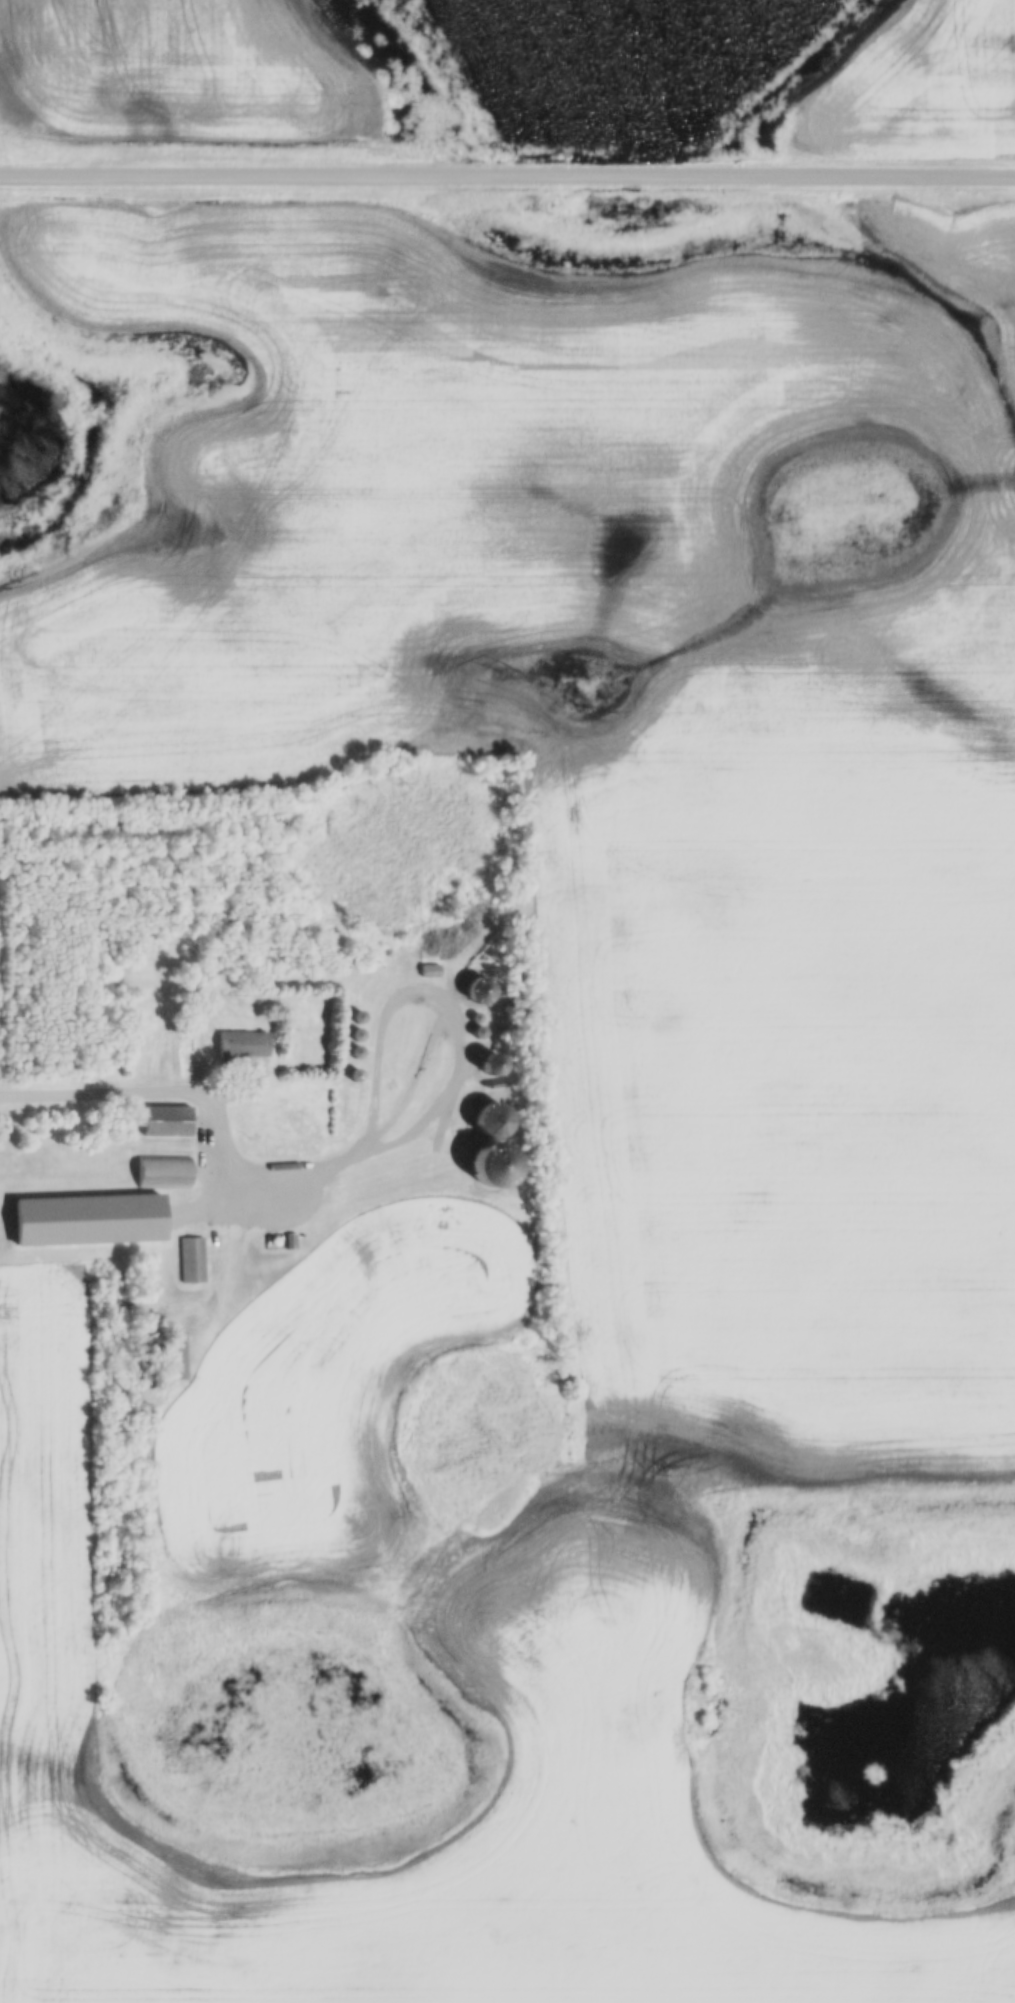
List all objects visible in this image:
road: (507, 181)
building: (285, 968)
silo: (285, 968)
building: (431, 972)
building: (475, 992)
silo: (475, 992)
building: (475, 1005)
silo: (475, 1005)
building: (357, 1016)
silo: (357, 1016)
building: (476, 1018)
silo: (476, 1018)
building: (478, 1032)
silo: (478, 1032)
building: (356, 1034)
silo: (356, 1034)
building: (355, 1052)
silo: (355, 1052)
building: (241, 1054)
building: (491, 1063)
silo: (491, 1063)
building: (354, 1075)
silo: (354, 1075)
building: (492, 1120)
silo: (492, 1120)
building: (166, 1122)
road: (317, 1167)
building: (164, 1184)
building: (83, 1224)
building: (273, 1240)
building: (290, 1240)
building: (193, 1258)
building: (174, 1355)

